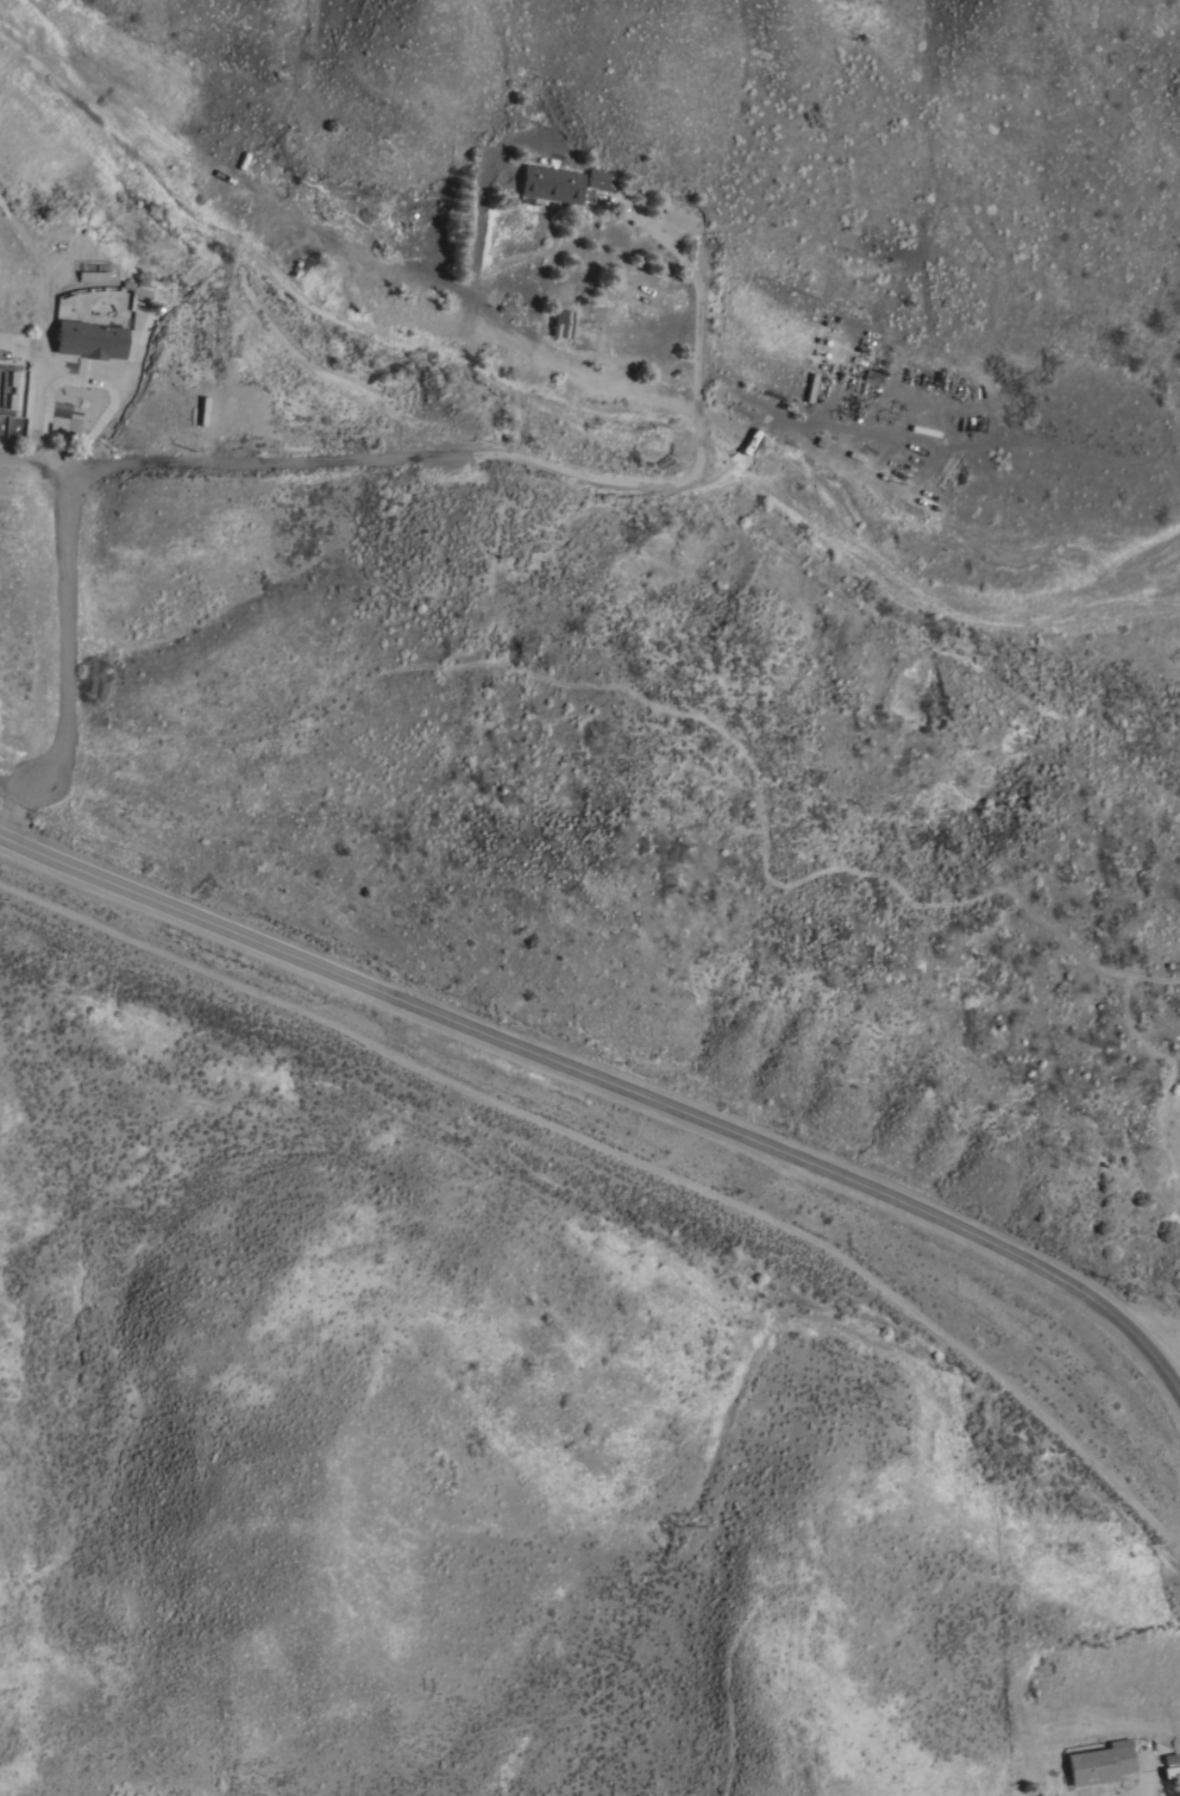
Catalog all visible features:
building: (558, 183)
building: (92, 275)
building: (133, 288)
building: (561, 321)
road: (482, 325)
building: (89, 338)
road: (88, 383)
road: (334, 459)
road: (32, 461)
road: (610, 1087)
road: (1163, 1343)
building: (1170, 1757)
building: (1099, 1762)
building: (1170, 1770)
road: (1143, 1795)

